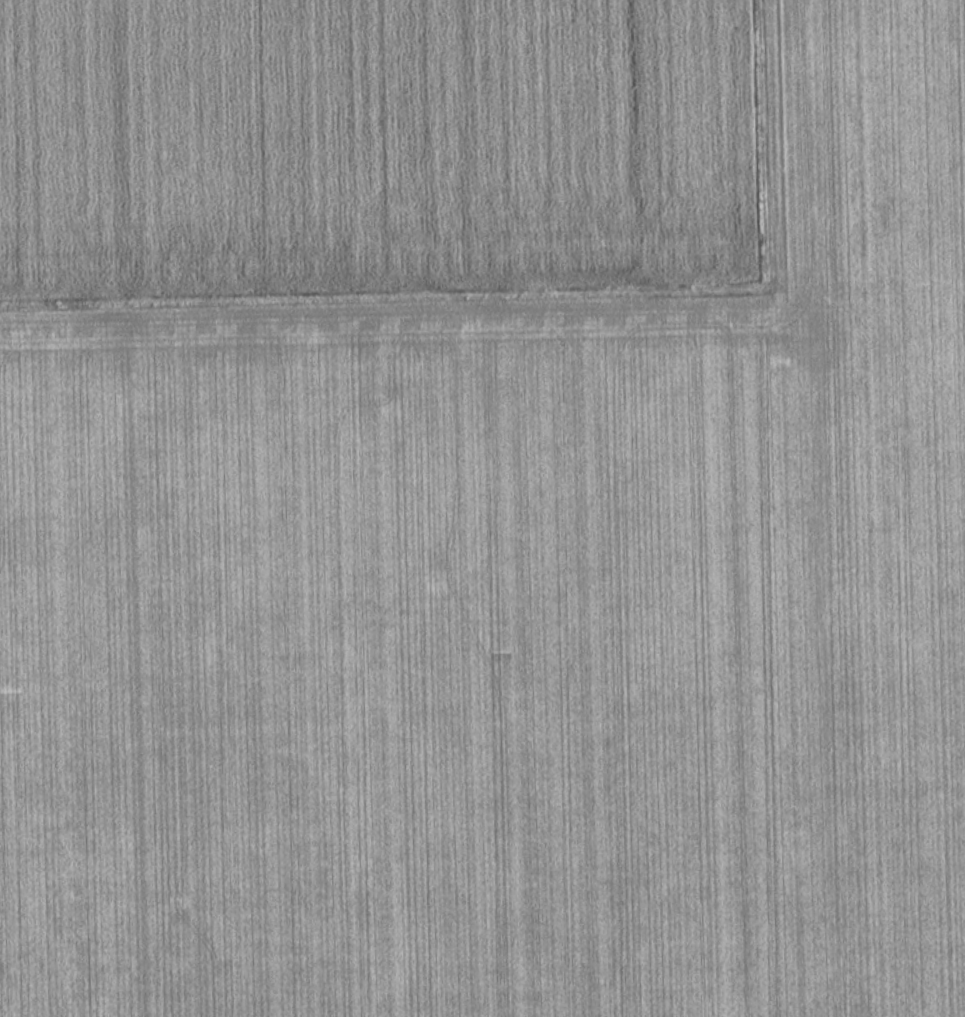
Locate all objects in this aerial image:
crop: (482, 508)

